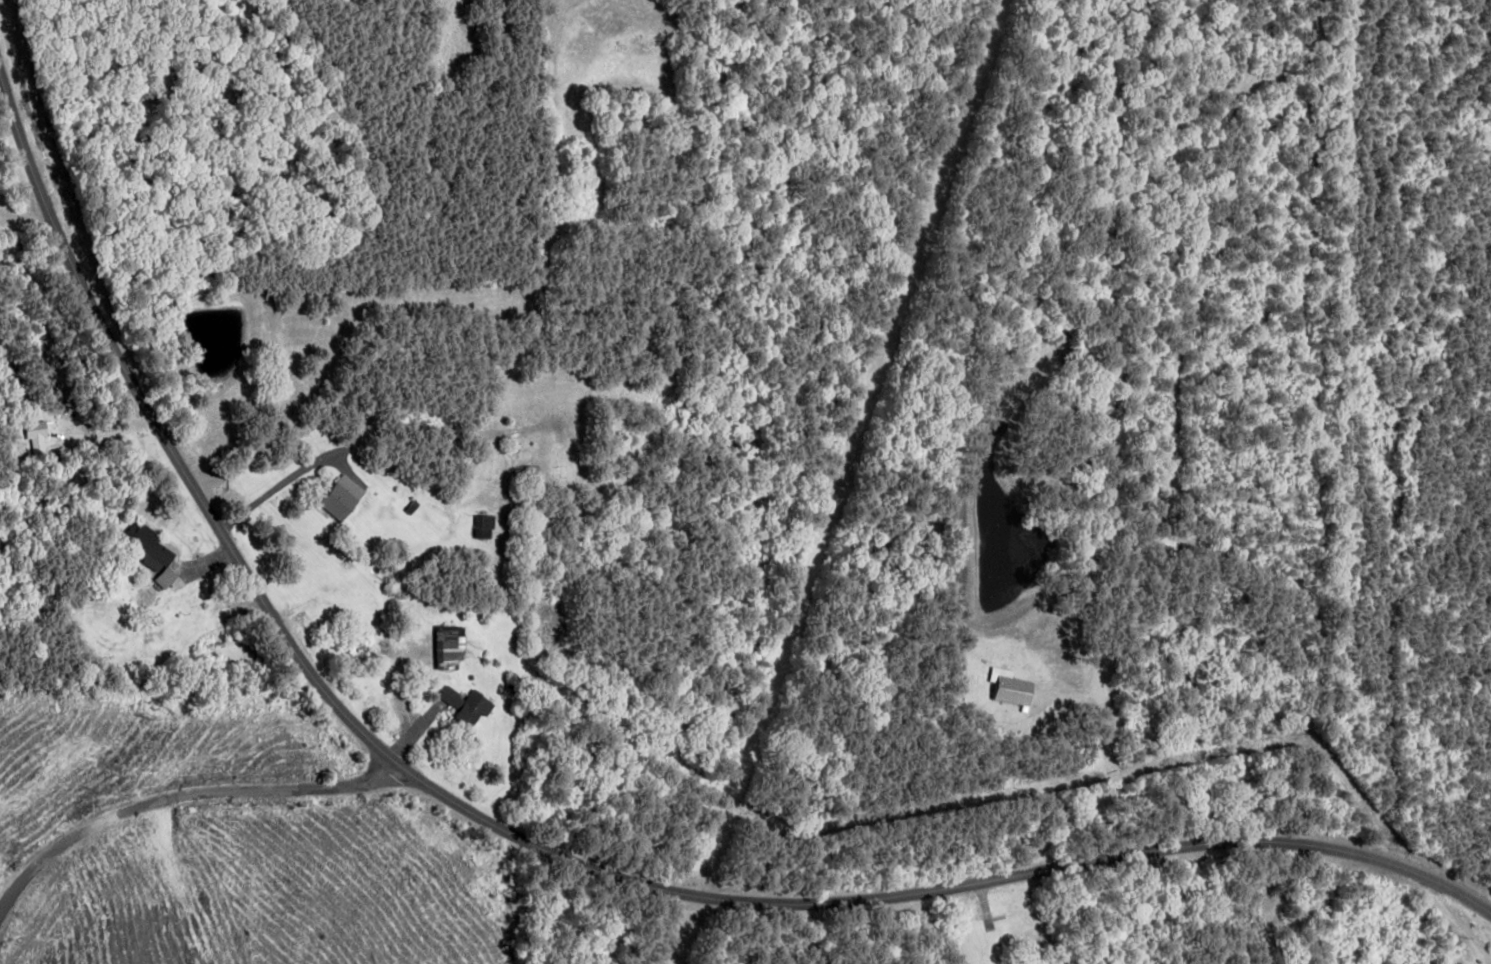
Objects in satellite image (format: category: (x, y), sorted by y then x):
road: (169, 458)
building: (339, 502)
building: (483, 524)
building: (152, 552)
building: (449, 645)
building: (1001, 687)
building: (450, 696)
building: (474, 707)
road: (181, 835)
road: (931, 924)

